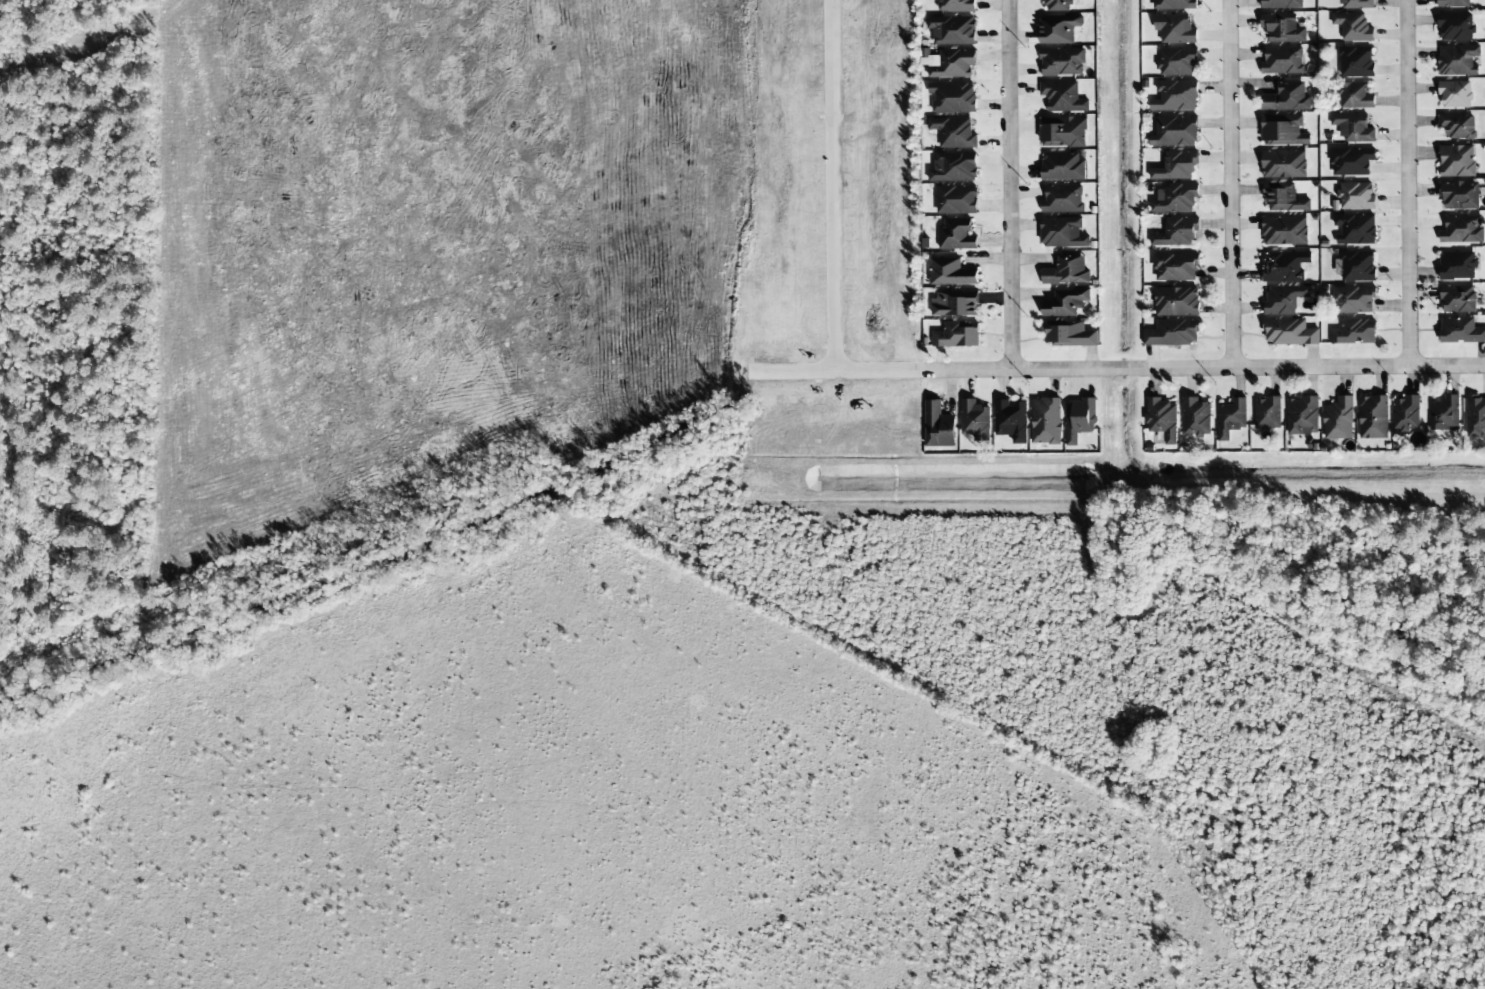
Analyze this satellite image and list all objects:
building: (1452, 3)
building: (1175, 4)
building: (1281, 4)
building: (1356, 4)
building: (1058, 5)
building: (956, 6)
building: (1353, 27)
building: (1455, 27)
building: (1282, 28)
building: (1058, 29)
building: (1175, 29)
building: (952, 30)
building: (1457, 60)
building: (1177, 61)
building: (1282, 61)
building: (1062, 62)
building: (1355, 62)
building: (951, 63)
building: (1454, 95)
building: (1175, 96)
building: (1355, 96)
building: (952, 97)
building: (1062, 97)
building: (1286, 97)
building: (1457, 126)
building: (1353, 128)
building: (1282, 130)
building: (1175, 131)
building: (953, 132)
building: (1063, 132)
building: (1456, 161)
building: (1351, 162)
building: (1283, 164)
building: (1062, 166)
building: (1176, 166)
building: (954, 167)
road: (1410, 184)
road: (1229, 185)
road: (1012, 187)
building: (1356, 196)
building: (1459, 196)
building: (1174, 198)
building: (1283, 198)
building: (1062, 199)
building: (957, 200)
building: (1355, 229)
building: (1461, 230)
building: (1284, 231)
building: (1176, 232)
building: (1062, 233)
building: (956, 234)
building: (1457, 265)
building: (1284, 266)
building: (1357, 266)
building: (1175, 267)
building: (1067, 270)
building: (951, 272)
building: (1284, 299)
building: (1457, 299)
building: (1354, 300)
building: (1176, 301)
building: (956, 302)
building: (1065, 302)
building: (1460, 331)
building: (1289, 332)
building: (1354, 332)
building: (1172, 333)
building: (1068, 334)
building: (957, 335)
road: (973, 373)
building: (1267, 413)
building: (1406, 413)
building: (1444, 414)
building: (1302, 416)
building: (1475, 416)
building: (1196, 417)
building: (1373, 417)
building: (1231, 418)
building: (1080, 419)
building: (1162, 419)
building: (1339, 419)
building: (975, 420)
building: (1011, 420)
building: (1046, 421)
building: (938, 426)

